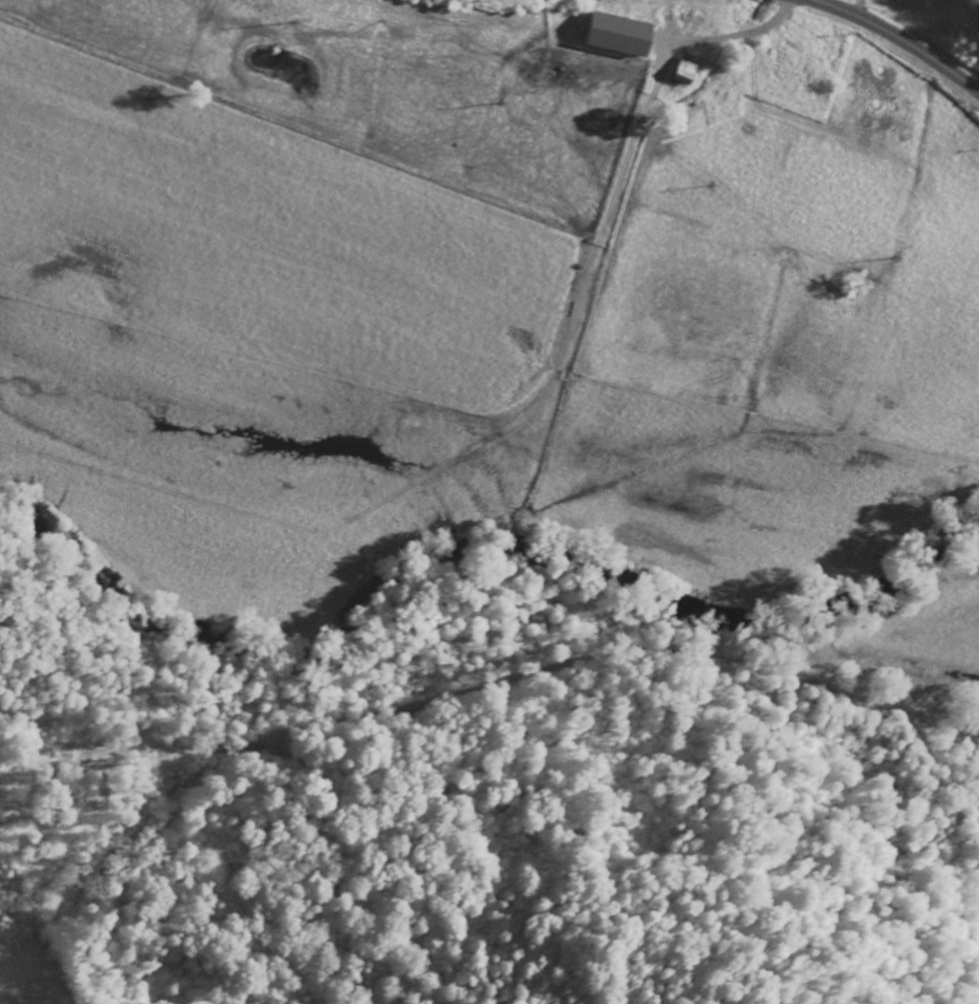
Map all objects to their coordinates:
building: (616, 33)
road: (899, 38)
building: (683, 71)
road: (656, 85)
road: (488, 663)

